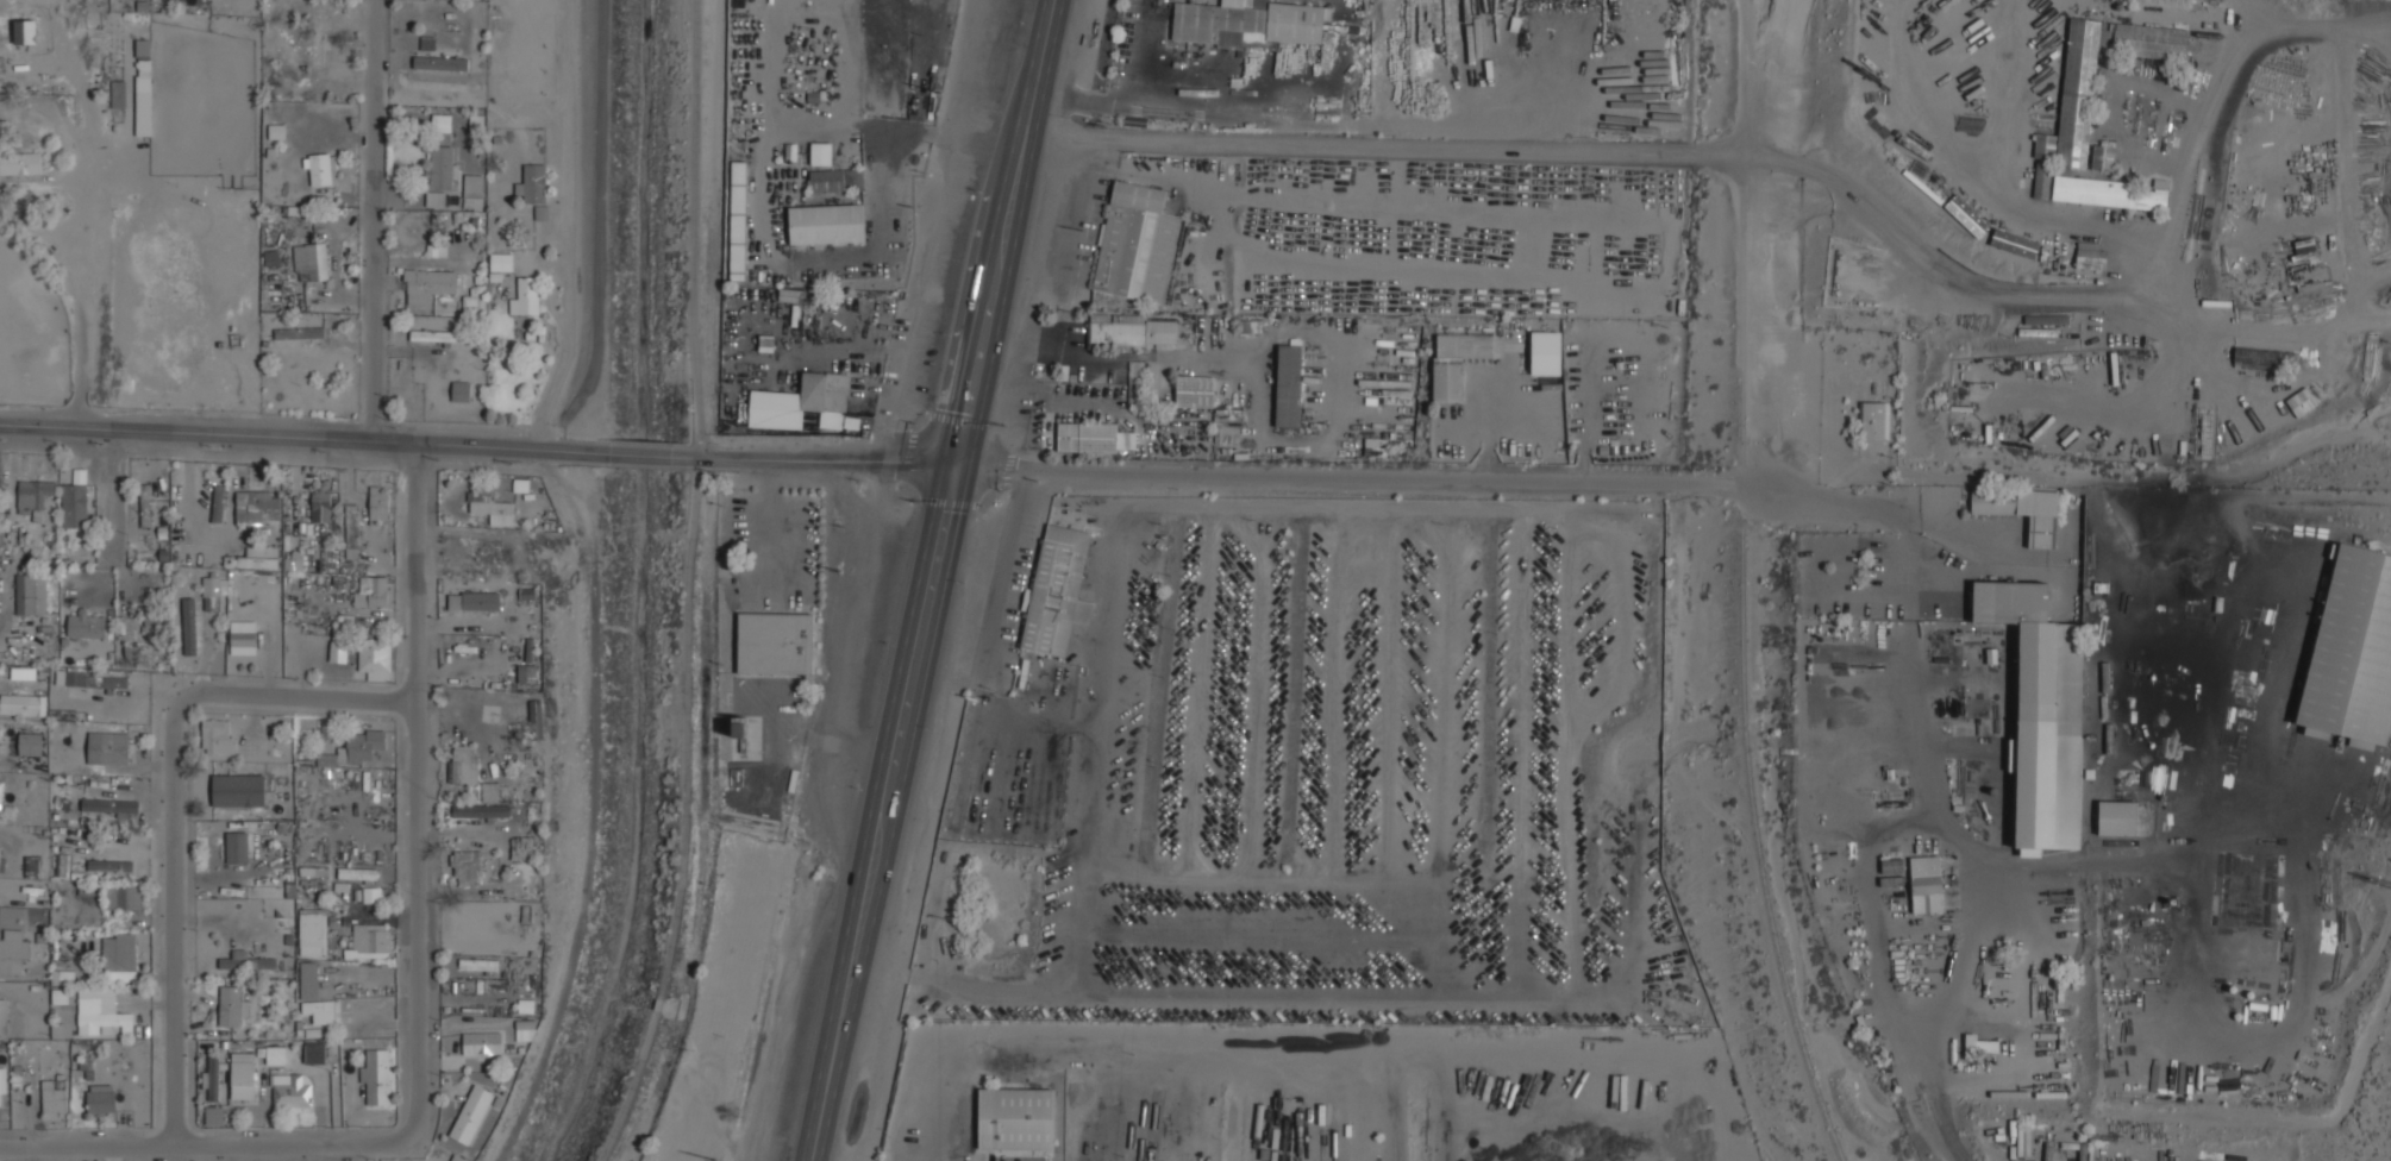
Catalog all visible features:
building: (2167, 2)
building: (1247, 23)
building: (25, 31)
building: (317, 37)
building: (2133, 38)
building: (440, 62)
building: (143, 70)
building: (2077, 93)
building: (117, 94)
building: (440, 123)
road: (1379, 144)
building: (2045, 146)
building: (821, 152)
building: (2102, 158)
building: (20, 163)
building: (320, 168)
building: (440, 171)
building: (837, 178)
building: (2042, 180)
building: (531, 184)
building: (472, 190)
building: (2110, 193)
road: (380, 220)
building: (738, 220)
building: (827, 224)
road: (568, 226)
building: (1135, 243)
building: (2014, 243)
building: (309, 261)
building: (2091, 261)
building: (501, 262)
road: (1939, 271)
building: (430, 281)
road: (85, 294)
building: (526, 295)
building: (474, 305)
building: (795, 313)
building: (1131, 330)
building: (299, 333)
building: (438, 335)
building: (1546, 352)
building: (1456, 362)
building: (1288, 385)
building: (461, 390)
building: (1195, 391)
building: (805, 402)
building: (2301, 402)
building: (1873, 421)
road: (305, 437)
building: (1093, 438)
road: (646, 454)
road: (821, 459)
road: (1345, 478)
road: (113, 494)
building: (32, 495)
building: (74, 500)
building: (218, 503)
road: (1821, 503)
building: (249, 504)
building: (144, 506)
building: (320, 506)
building: (378, 506)
building: (490, 506)
building: (2022, 510)
road: (772, 520)
building: (351, 531)
building: (255, 557)
building: (293, 559)
road: (933, 580)
road: (689, 585)
railway: (1742, 586)
building: (1057, 590)
building: (371, 591)
building: (213, 592)
building: (30, 594)
building: (477, 600)
building: (85, 623)
building: (189, 626)
building: (152, 627)
building: (245, 636)
building: (775, 641)
building: (530, 642)
building: (338, 649)
building: (374, 657)
building: (2347, 659)
building: (484, 669)
building: (23, 673)
building: (526, 673)
building: (92, 679)
road: (290, 702)
building: (23, 704)
building: (536, 721)
building: (218, 735)
road: (815, 738)
building: (2041, 738)
building: (30, 743)
building: (108, 747)
building: (356, 748)
road: (774, 761)
building: (462, 764)
building: (225, 774)
building: (238, 790)
building: (0, 791)
road: (412, 792)
building: (489, 792)
building: (109, 805)
building: (481, 811)
building: (2116, 817)
building: (236, 846)
building: (520, 847)
building: (2, 858)
building: (61, 865)
building: (109, 865)
building: (33, 866)
building: (467, 867)
building: (358, 873)
building: (1926, 884)
building: (371, 895)
building: (121, 896)
building: (520, 912)
building: (470, 920)
road: (170, 925)
building: (312, 931)
building: (370, 939)
building: (511, 945)
building: (12, 950)
building: (119, 955)
building: (245, 961)
building: (477, 964)
building: (309, 980)
building: (2002, 987)
building: (231, 1005)
building: (100, 1009)
building: (321, 1010)
building: (4, 1016)
building: (482, 1042)
building: (1979, 1044)
building: (314, 1053)
building: (275, 1055)
building: (377, 1075)
building: (243, 1078)
building: (213, 1079)
building: (292, 1093)
building: (52, 1098)
building: (100, 1098)
building: (0, 1102)
building: (471, 1113)
building: (213, 1115)
building: (1015, 1118)
road: (202, 1148)

